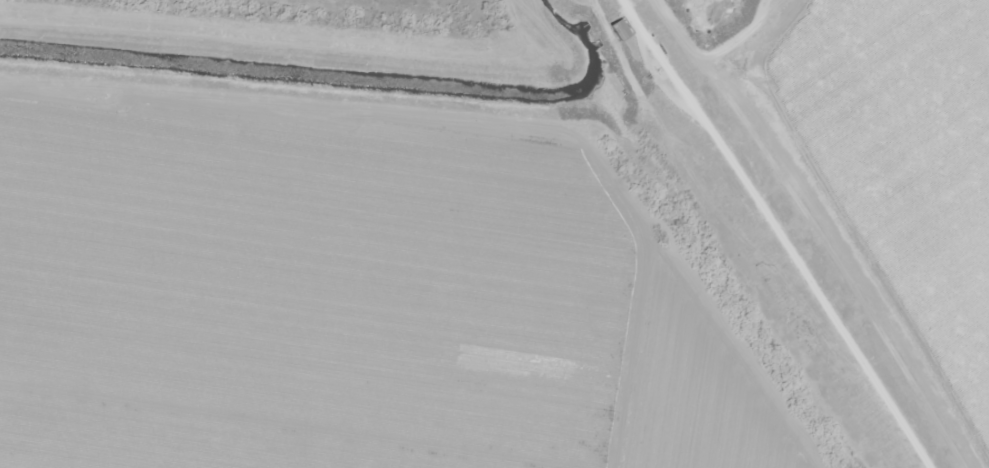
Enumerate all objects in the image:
building: (614, 28)
road: (800, 228)

